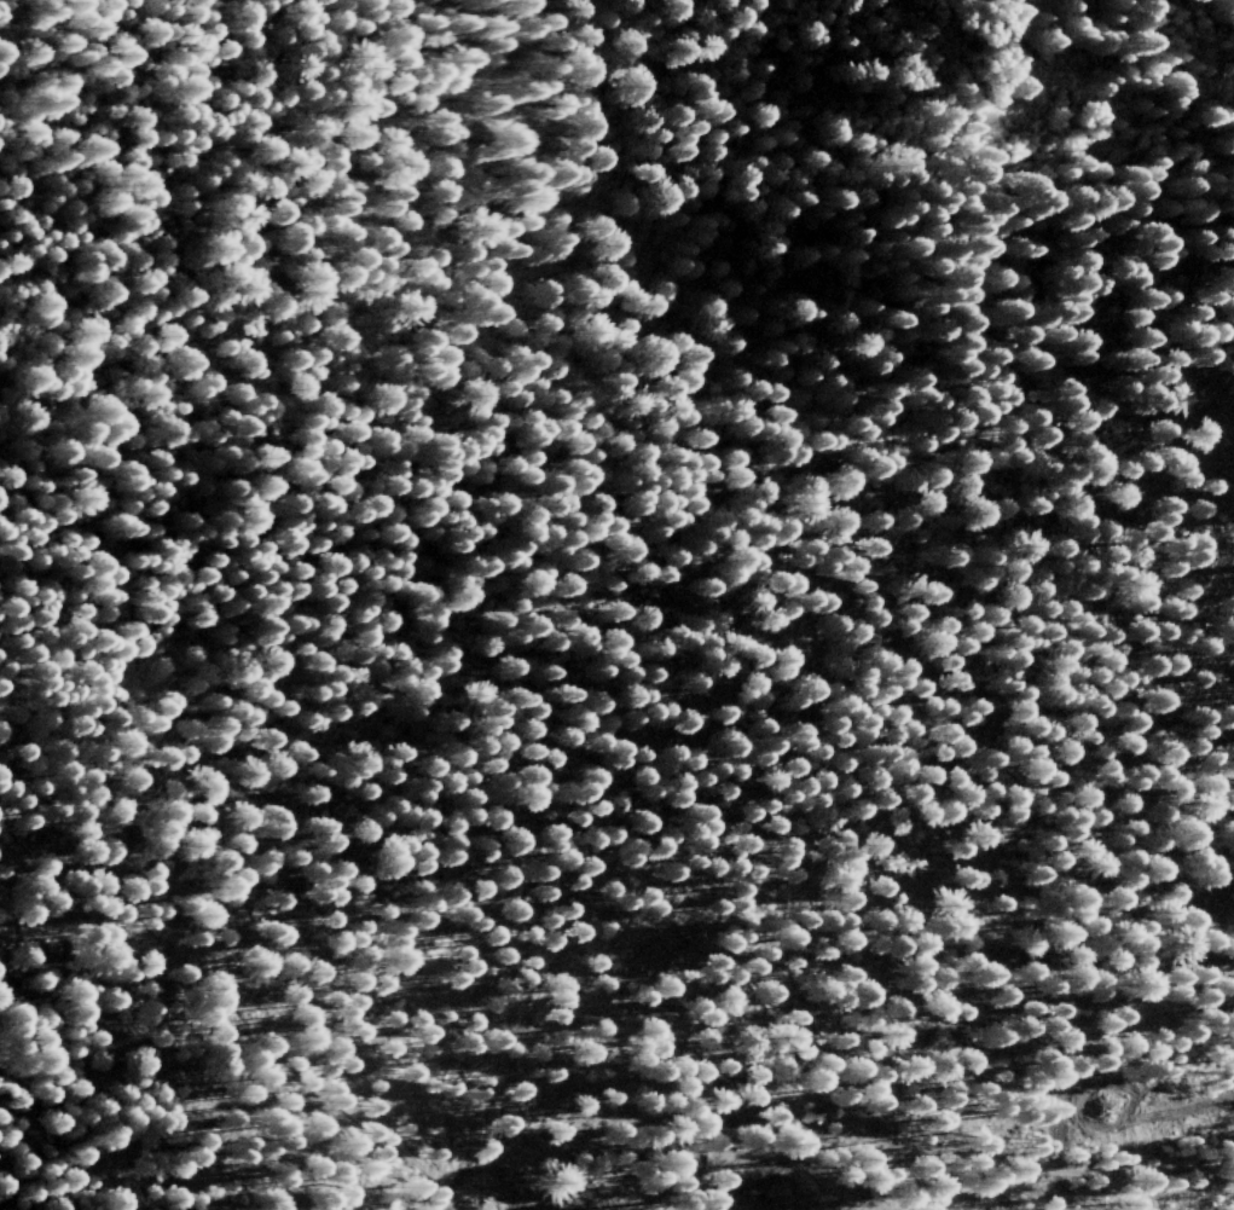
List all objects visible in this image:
road: (632, 398)
road: (1118, 1162)

